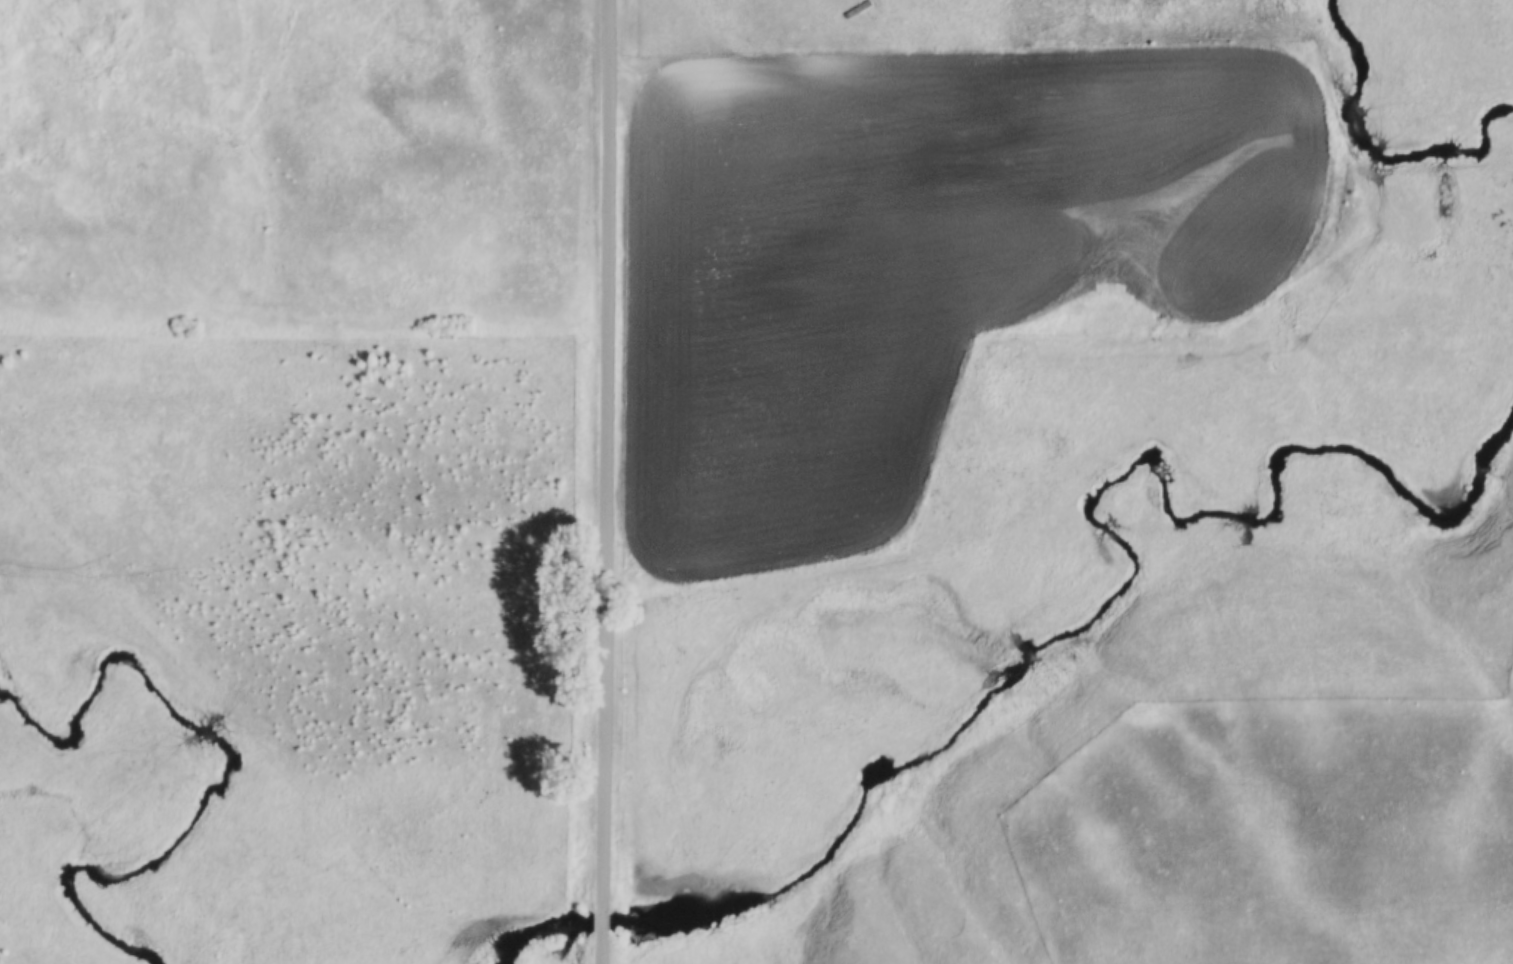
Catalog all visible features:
road: (604, 456)
road: (604, 922)
road: (603, 948)

